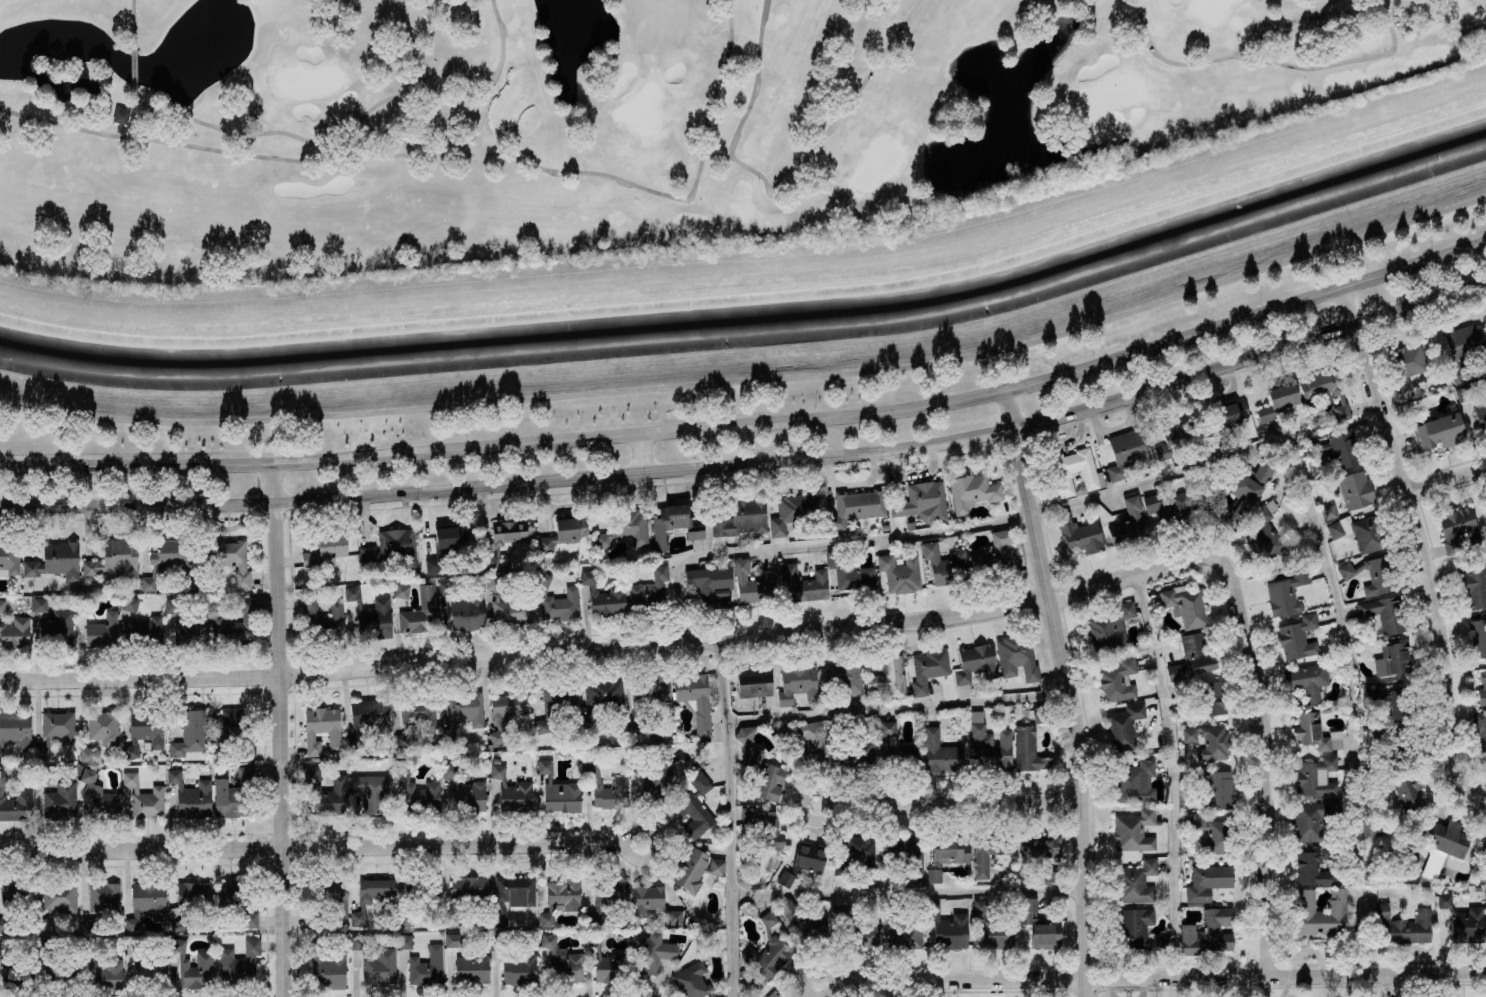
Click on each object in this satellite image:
building: (122, 115)
park: (629, 124)
park: (722, 304)
river: (754, 327)
building: (1464, 348)
building: (1405, 363)
road: (754, 380)
building: (1326, 383)
building: (1464, 393)
building: (1278, 399)
building: (1341, 410)
building: (1481, 417)
building: (1225, 418)
road: (754, 423)
building: (1437, 431)
building: (1176, 442)
building: (1337, 447)
road: (640, 452)
building: (1127, 453)
road: (754, 461)
road: (1207, 462)
building: (1070, 471)
road: (1446, 481)
building: (1356, 488)
building: (1242, 489)
building: (971, 491)
building: (922, 501)
building: (856, 505)
building: (1170, 509)
building: (794, 510)
building: (1328, 511)
building: (741, 517)
building: (1127, 522)
building: (673, 523)
building: (910, 524)
building: (883, 526)
building: (626, 528)
building: (1458, 528)
building: (1267, 529)
building: (1358, 531)
building: (1079, 532)
building: (562, 533)
building: (450, 534)
building: (505, 539)
road: (1420, 547)
building: (393, 549)
building: (326, 550)
building: (10, 558)
building: (115, 559)
building: (231, 559)
building: (992, 559)
building: (56, 560)
building: (170, 560)
building: (433, 564)
building: (945, 564)
building: (505, 565)
building: (899, 572)
building: (850, 573)
building: (1374, 573)
building: (804, 582)
building: (753, 583)
building: (711, 584)
building: (1475, 588)
building: (401, 590)
building: (648, 591)
building: (1286, 592)
building: (603, 596)
building: (558, 600)
building: (1185, 603)
building: (129, 604)
building: (2, 605)
building: (86, 605)
building: (171, 605)
building: (508, 607)
building: (465, 609)
building: (1384, 611)
building: (421, 612)
building: (371, 614)
building: (323, 618)
building: (53, 619)
building: (234, 626)
building: (1110, 626)
building: (103, 631)
building: (146, 631)
building: (15, 632)
building: (192, 632)
building: (1298, 636)
building: (1478, 636)
road: (643, 645)
building: (1017, 655)
building: (1192, 656)
building: (1394, 657)
building: (974, 664)
building: (928, 668)
building: (889, 677)
building: (1118, 679)
building: (1309, 679)
building: (839, 680)
building: (753, 681)
building: (798, 683)
building: (1482, 687)
road: (1072, 690)
building: (1202, 695)
building: (696, 697)
building: (602, 699)
building: (648, 699)
building: (1396, 699)
building: (555, 703)
building: (1327, 708)
road: (899, 710)
building: (462, 712)
building: (506, 713)
building: (416, 715)
building: (369, 718)
building: (322, 726)
building: (1124, 726)
building: (234, 728)
building: (14, 730)
building: (55, 730)
road: (281, 730)
building: (144, 731)
building: (100, 732)
building: (1316, 732)
building: (745, 733)
building: (1480, 733)
building: (191, 735)
building: (655, 735)
building: (1031, 740)
building: (1209, 741)
building: (804, 742)
building: (1397, 743)
building: (990, 744)
building: (857, 749)
building: (895, 749)
building: (940, 752)
building: (496, 760)
building: (41, 774)
road: (1170, 774)
building: (762, 775)
building: (1317, 775)
building: (654, 776)
building: (1134, 781)
building: (619, 784)
building: (1214, 786)
building: (513, 791)
building: (560, 791)
road: (1266, 791)
building: (233, 792)
building: (326, 792)
building: (372, 792)
building: (419, 792)
building: (465, 792)
building: (98, 794)
building: (1410, 794)
building: (191, 795)
building: (144, 798)
building: (60, 801)
building: (14, 802)
building: (693, 803)
road: (958, 803)
road: (830, 805)
building: (1310, 816)
road: (731, 817)
building: (764, 825)
building: (1370, 827)
building: (1134, 829)
building: (1208, 831)
road: (311, 845)
road: (623, 847)
building: (1042, 847)
building: (1440, 849)
building: (1481, 850)
building: (989, 851)
building: (854, 853)
building: (946, 855)
building: (802, 862)
building: (917, 862)
building: (1313, 864)
building: (695, 868)
building: (1052, 875)
building: (1135, 881)
building: (1207, 881)
building: (421, 887)
building: (1478, 888)
road: (909, 892)
building: (328, 893)
building: (466, 894)
building: (512, 895)
building: (237, 897)
building: (562, 897)
building: (605, 898)
building: (105, 899)
building: (387, 899)
building: (14, 901)
building: (191, 901)
building: (146, 902)
building: (653, 902)
building: (57, 903)
building: (1320, 914)
building: (314, 917)
building: (406, 919)
building: (1464, 921)
building: (9, 924)
building: (90, 925)
building: (1041, 925)
building: (1404, 925)
building: (809, 926)
building: (1132, 926)
building: (856, 928)
building: (948, 928)
building: (901, 930)
building: (992, 930)
building: (1208, 931)
building: (405, 941)
building: (767, 951)
building: (653, 952)
building: (563, 961)
building: (204, 962)
building: (376, 962)
building: (468, 962)
building: (608, 963)
building: (238, 964)
building: (327, 964)
building: (516, 964)
building: (427, 966)
building: (148, 967)
building: (15, 969)
building: (55, 970)
building: (103, 970)
building: (743, 974)
road: (1160, 976)
building: (694, 981)
road: (834, 981)
building: (773, 994)

